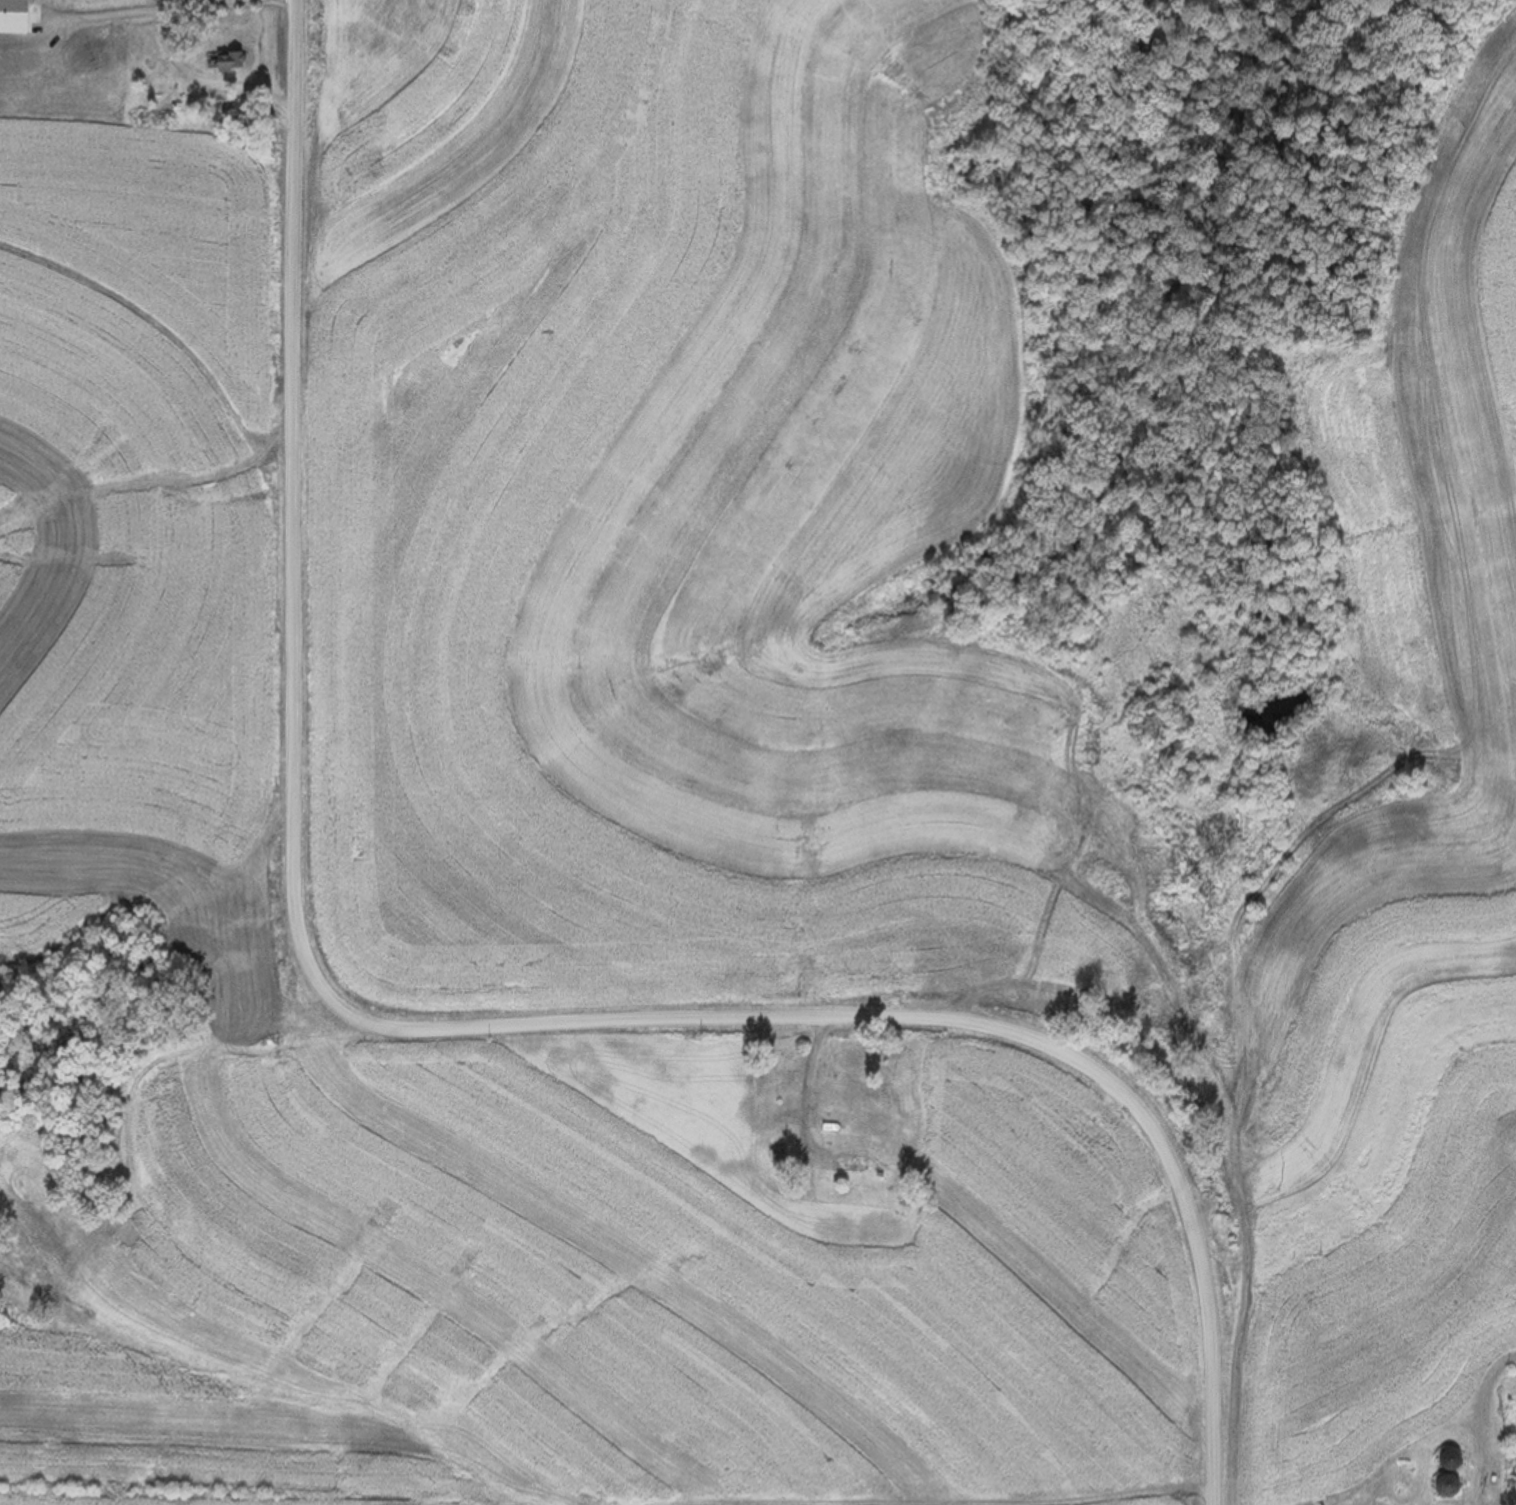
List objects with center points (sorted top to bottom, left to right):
road: (133, 9)
building: (17, 16)
building: (231, 61)
road: (206, 80)
road: (436, 1035)
road: (804, 1074)
building: (1443, 1458)
building: (1441, 1484)

